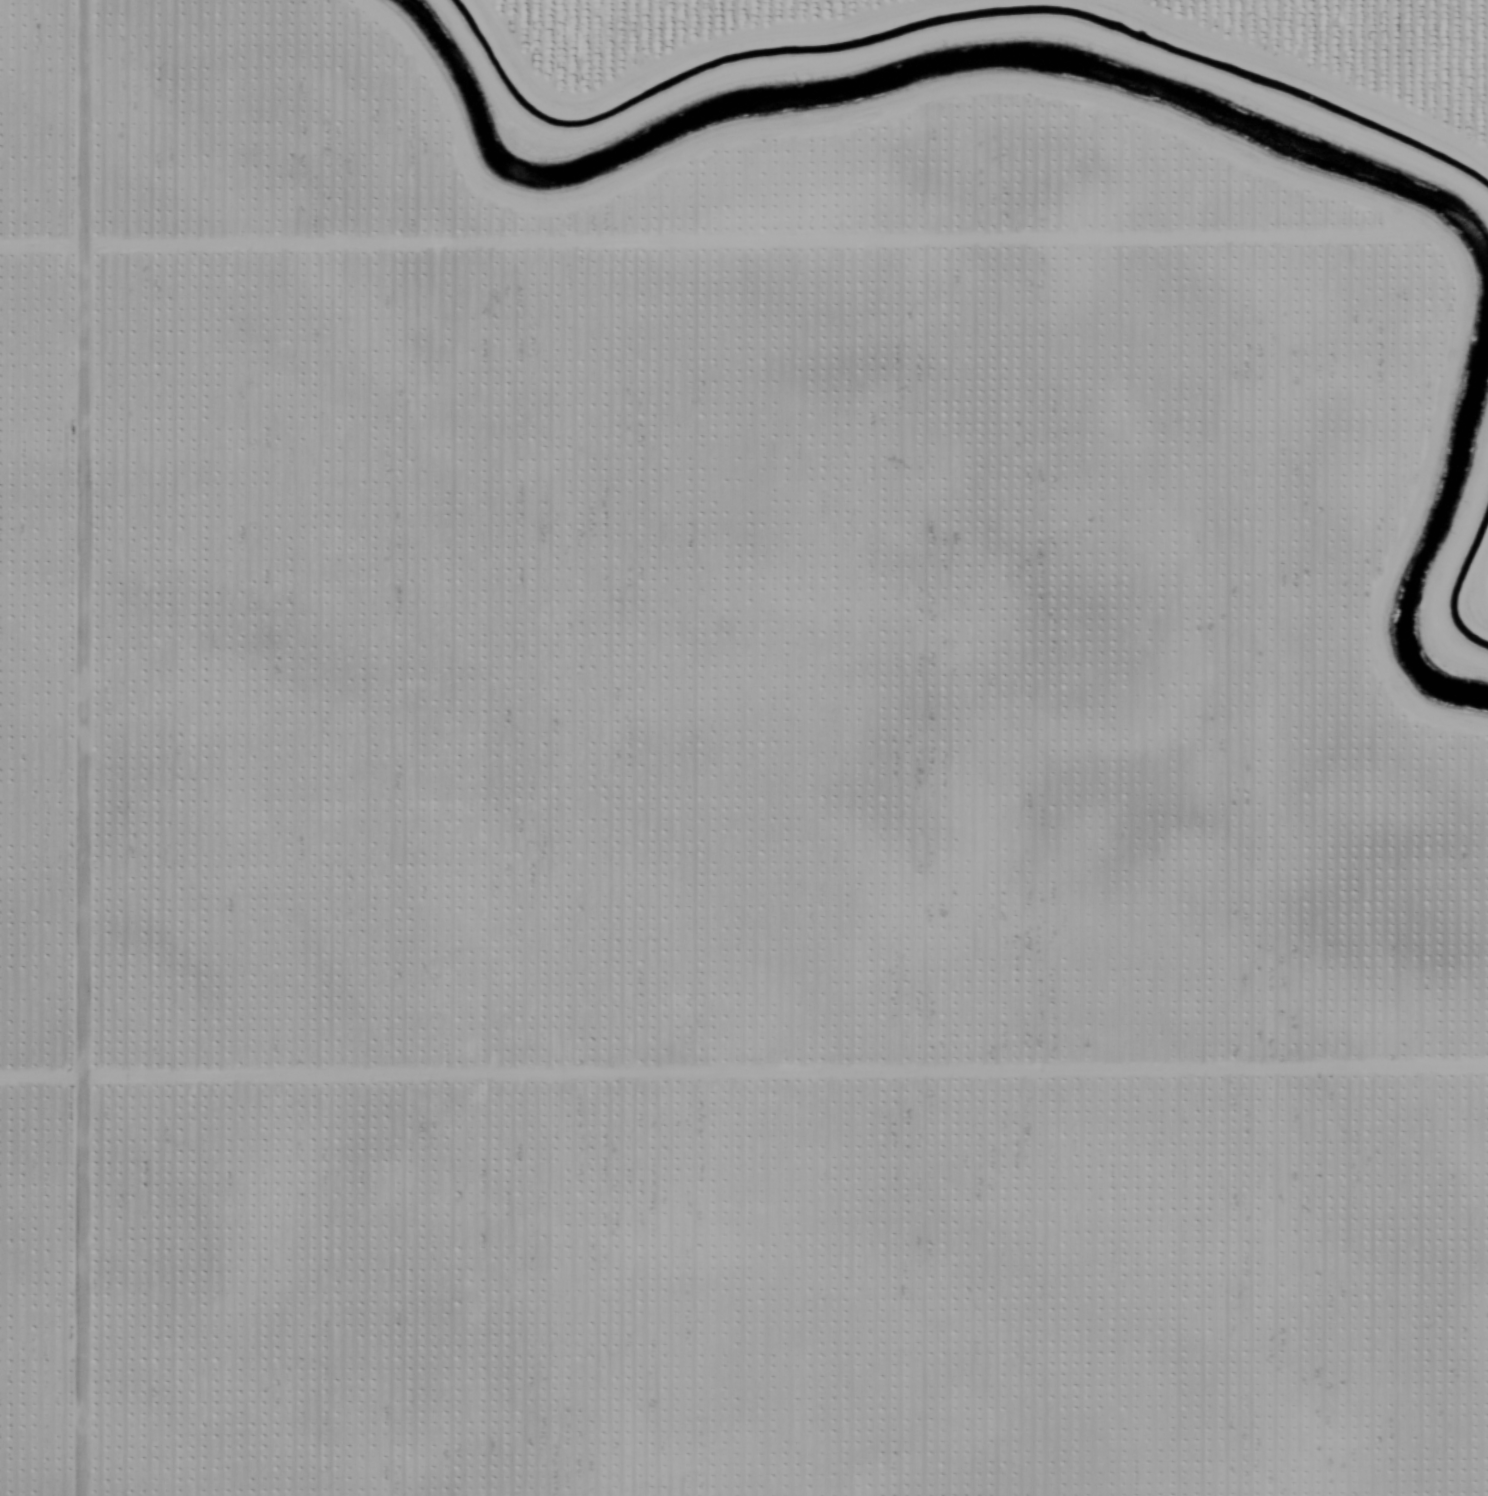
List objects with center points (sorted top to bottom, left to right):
road: (642, 12)
road: (1422, 89)
crop: (744, 748)

